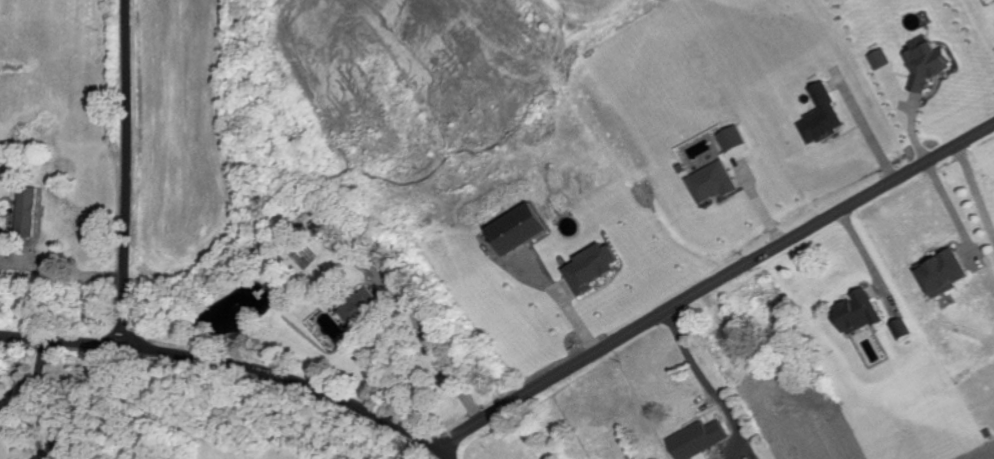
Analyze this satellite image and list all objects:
building: (877, 61)
building: (924, 66)
building: (820, 118)
building: (731, 140)
building: (713, 184)
building: (23, 213)
building: (514, 231)
building: (588, 270)
building: (942, 275)
road: (711, 280)
building: (360, 309)
building: (856, 315)
building: (900, 330)
road: (134, 335)
road: (65, 338)
building: (697, 441)

